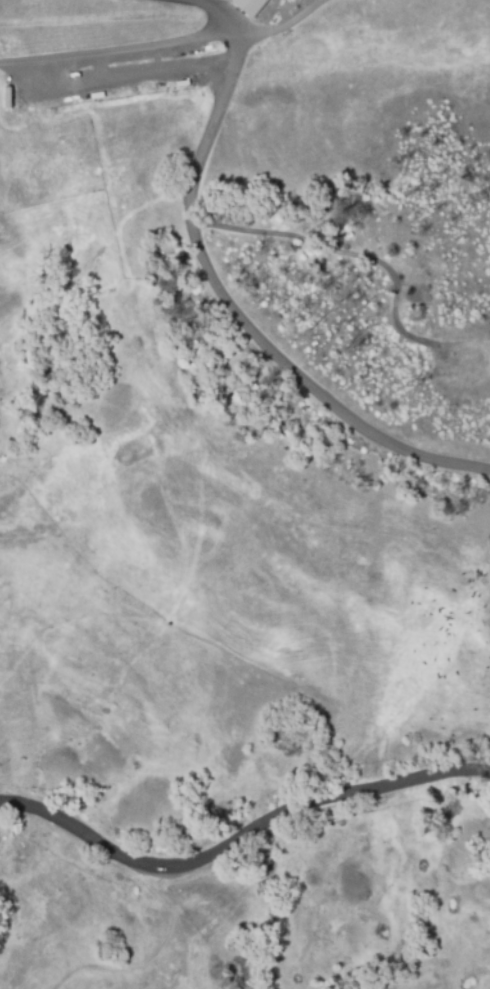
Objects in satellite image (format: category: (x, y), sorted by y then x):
road: (274, 26)
road: (111, 49)
road: (108, 79)
road: (227, 292)
road: (240, 835)

